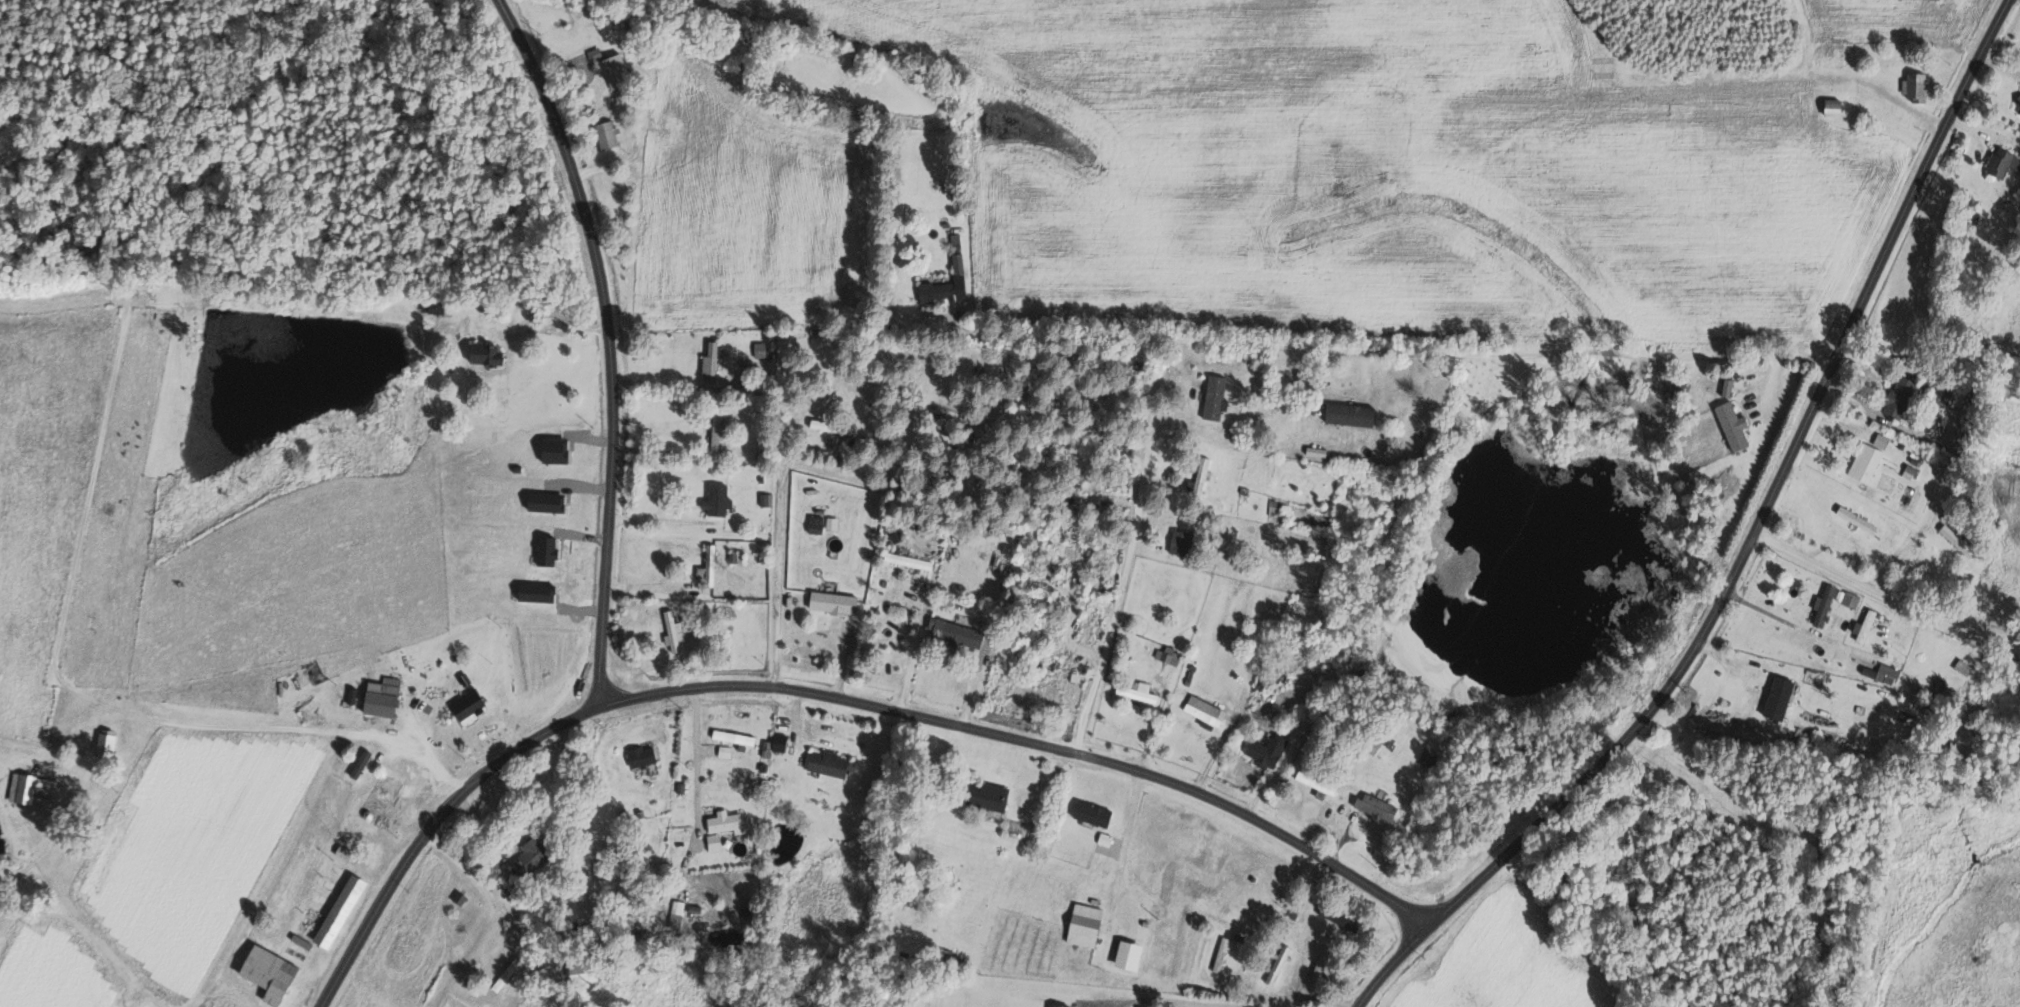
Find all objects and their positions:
building: (596, 54)
building: (618, 71)
building: (1919, 87)
building: (1838, 109)
building: (609, 134)
building: (2005, 161)
building: (950, 285)
road: (518, 304)
building: (437, 308)
road: (607, 345)
road: (1334, 348)
building: (762, 350)
building: (489, 353)
building: (713, 363)
road: (666, 385)
building: (1730, 387)
building: (1218, 397)
building: (1905, 397)
building: (1355, 414)
building: (832, 424)
building: (1736, 425)
road: (1197, 433)
road: (665, 453)
building: (1871, 459)
building: (1911, 471)
building: (1204, 476)
building: (721, 500)
building: (768, 500)
road: (662, 520)
building: (834, 523)
building: (818, 524)
building: (1960, 541)
building: (1182, 542)
road: (1746, 546)
road: (778, 551)
building: (736, 557)
building: (912, 561)
building: (712, 567)
road: (651, 585)
road: (1882, 597)
building: (837, 602)
building: (1834, 603)
building: (688, 625)
building: (1867, 626)
building: (675, 631)
building: (958, 633)
road: (1111, 633)
road: (913, 653)
building: (1171, 655)
building: (1890, 674)
building: (1141, 692)
building: (355, 695)
building: (386, 697)
road: (829, 699)
building: (470, 705)
building: (1206, 710)
road: (261, 728)
building: (738, 739)
building: (109, 744)
building: (777, 745)
road: (697, 751)
building: (1270, 753)
building: (1432, 755)
building: (644, 757)
building: (364, 763)
building: (831, 764)
building: (1320, 784)
building: (35, 790)
building: (992, 796)
building: (1382, 809)
building: (1097, 814)
building: (729, 822)
road: (1127, 835)
building: (717, 842)
building: (533, 857)
road: (477, 880)
building: (344, 911)
building: (679, 914)
building: (1342, 918)
building: (1089, 926)
building: (1223, 954)
building: (1133, 955)
building: (1281, 965)
building: (1321, 967)
building: (587, 973)
building: (274, 974)
road: (1180, 999)
building: (1061, 1005)

